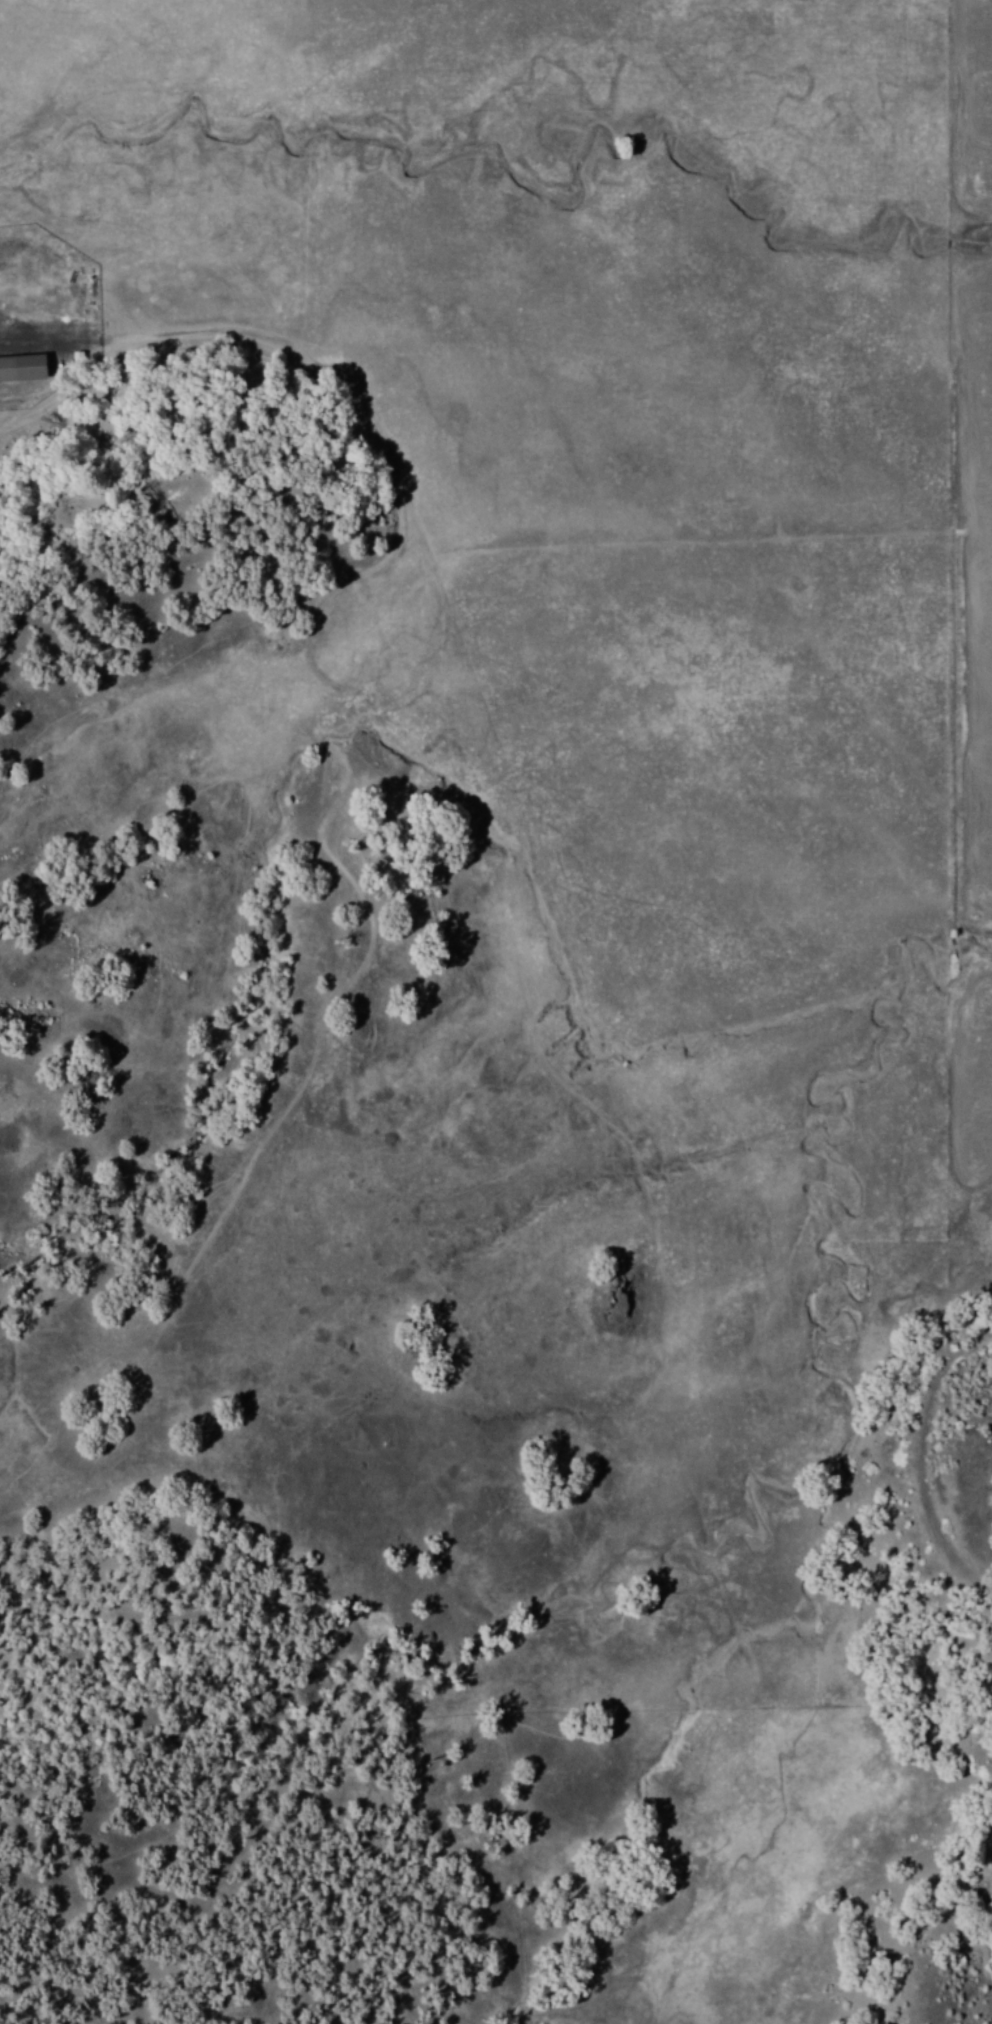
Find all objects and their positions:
building: (23, 368)

